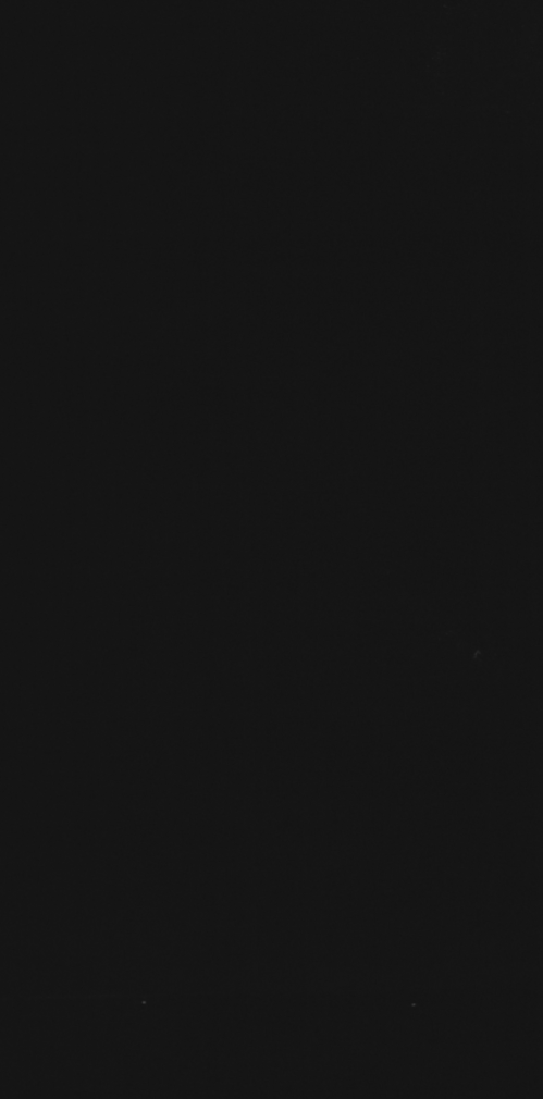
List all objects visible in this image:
river: (271, 1022)

